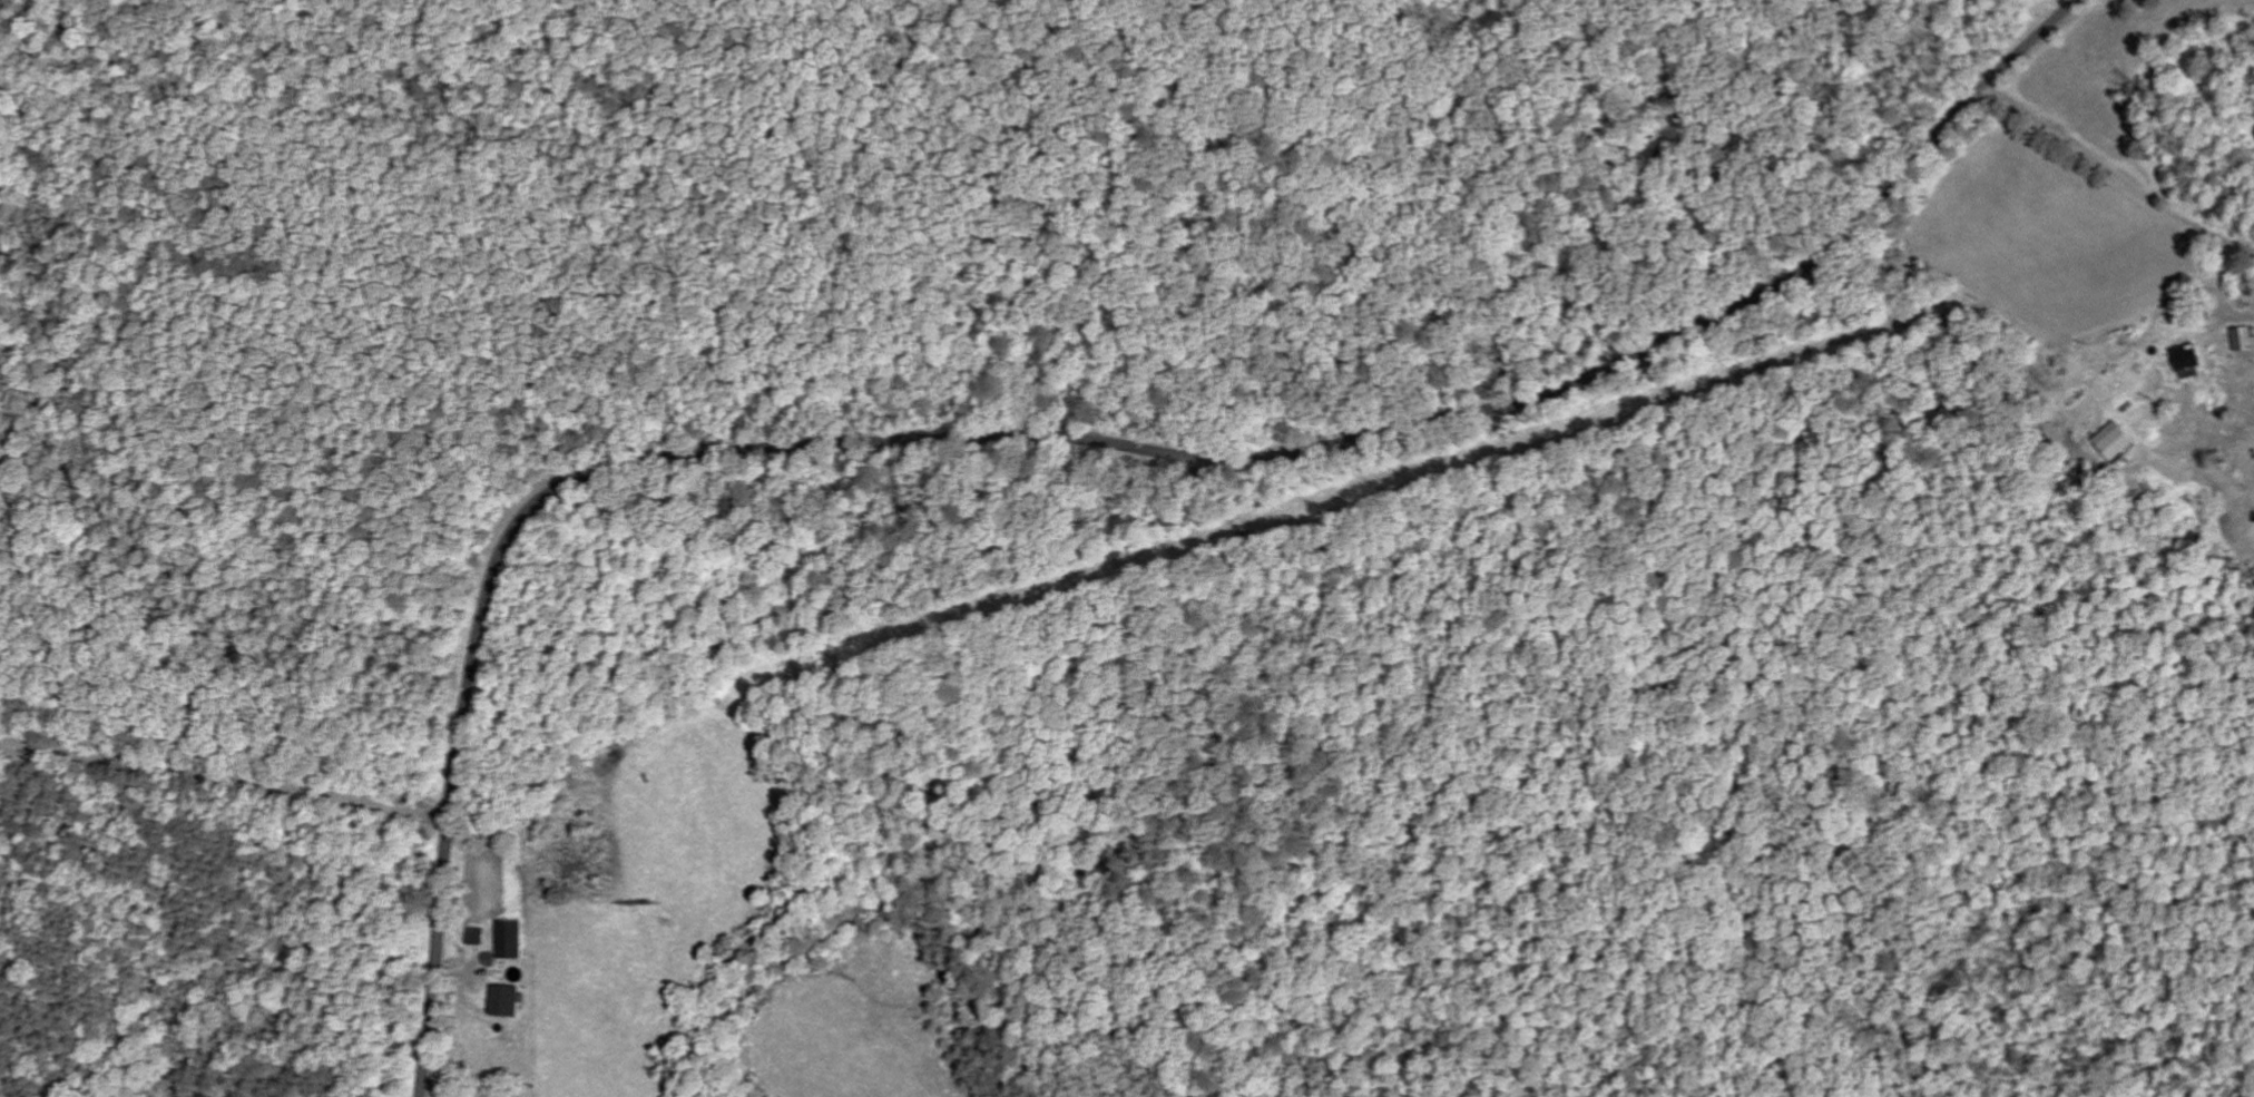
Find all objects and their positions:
road: (2105, 167)
road: (2121, 270)
road: (1925, 317)
building: (2244, 340)
building: (2188, 362)
building: (2118, 443)
road: (1209, 447)
road: (225, 777)
building: (479, 938)
building: (512, 941)
road: (437, 958)
building: (508, 1002)

